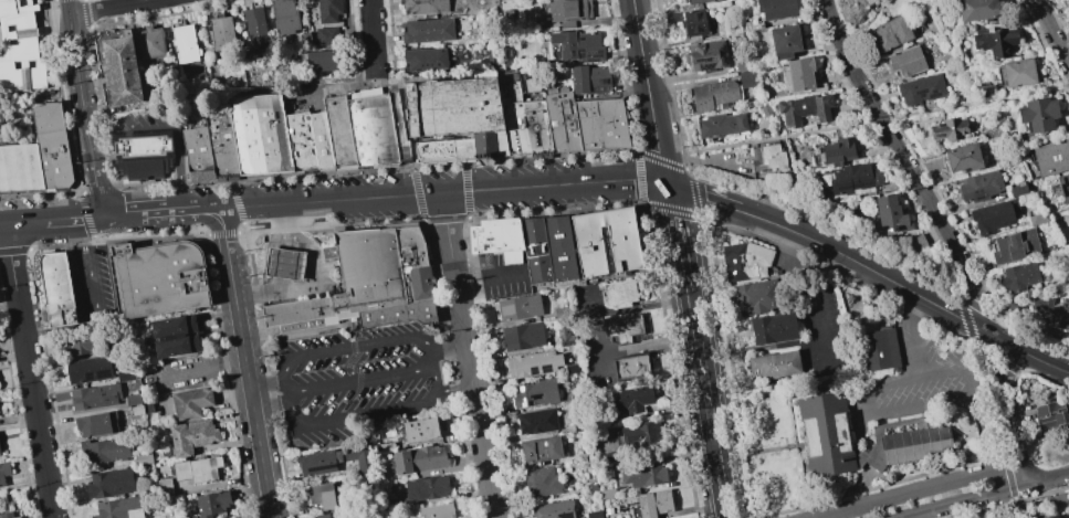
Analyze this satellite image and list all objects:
building: (714, 0)
building: (727, 0)
building: (694, 1)
road: (113, 7)
building: (425, 7)
road: (69, 8)
building: (775, 9)
road: (826, 9)
building: (978, 9)
building: (328, 10)
building: (569, 11)
park: (872, 12)
building: (671, 15)
building: (285, 17)
building: (694, 23)
road: (863, 25)
building: (255, 29)
building: (428, 31)
road: (371, 33)
building: (889, 33)
road: (1051, 33)
building: (221, 34)
building: (327, 36)
building: (785, 40)
building: (995, 41)
building: (150, 43)
building: (185, 44)
building: (578, 45)
building: (20, 47)
rooftop solar panel: (579, 53)
building: (507, 54)
rooftop solar panel: (586, 54)
rooftop solar panel: (723, 54)
building: (706, 56)
rooftop solar panel: (596, 57)
building: (427, 59)
rooftop solar panel: (699, 59)
rooftop solar panel: (708, 59)
building: (323, 61)
building: (905, 61)
rooftop solar panel: (709, 65)
building: (118, 68)
building: (1018, 72)
road: (690, 75)
building: (800, 75)
building: (588, 77)
building: (745, 78)
rooftop solar panel: (604, 81)
road: (691, 85)
road: (342, 87)
rooftop solar panel: (607, 87)
building: (920, 88)
building: (985, 91)
road: (647, 94)
building: (712, 94)
road: (988, 102)
building: (764, 109)
building: (804, 109)
building: (1037, 114)
road: (85, 116)
building: (46, 117)
building: (523, 117)
building: (454, 119)
building: (560, 121)
parking lot: (140, 124)
building: (721, 124)
building: (600, 125)
road: (404, 126)
building: (370, 127)
building: (398, 128)
building: (951, 129)
road: (127, 130)
building: (338, 131)
road: (795, 134)
building: (259, 135)
building: (319, 140)
building: (300, 141)
building: (221, 145)
building: (837, 151)
building: (197, 154)
road: (674, 154)
building: (142, 155)
building: (1051, 157)
building: (767, 158)
building: (963, 158)
building: (53, 159)
road: (178, 167)
building: (19, 168)
flagpole: (290, 172)
road: (912, 175)
building: (851, 178)
road: (627, 179)
rooftop solar panel: (864, 180)
rooftop solar panel: (853, 181)
rooftop solar panel: (843, 183)
traffic signals: (669, 187)
building: (979, 187)
building: (1063, 187)
building: (1018, 189)
road: (450, 192)
road: (708, 200)
road: (268, 205)
road: (200, 211)
road: (176, 212)
road: (157, 213)
building: (890, 214)
road: (124, 215)
building: (994, 215)
traffic signals: (103, 216)
building: (1037, 218)
road: (74, 219)
road: (25, 221)
road: (2, 222)
road: (287, 222)
building: (254, 226)
road: (701, 226)
road: (677, 229)
building: (496, 239)
road: (279, 242)
building: (606, 242)
road: (286, 244)
building: (916, 245)
building: (1014, 245)
building: (1066, 245)
building: (1054, 247)
building: (547, 250)
building: (327, 252)
road: (311, 254)
building: (744, 260)
road: (269, 262)
building: (283, 263)
road: (283, 264)
road: (870, 269)
building: (1019, 275)
road: (485, 276)
building: (156, 278)
road: (685, 282)
building: (366, 284)
road: (265, 285)
road: (281, 285)
parking lot: (93, 286)
road: (455, 288)
building: (56, 289)
road: (274, 292)
building: (620, 294)
building: (751, 296)
road: (95, 306)
building: (520, 307)
road: (630, 308)
building: (562, 313)
building: (1066, 318)
building: (771, 328)
road: (819, 328)
building: (623, 329)
building: (175, 337)
building: (524, 337)
building: (565, 337)
road: (1029, 337)
building: (81, 345)
road: (364, 347)
road: (447, 348)
road: (647, 348)
road: (759, 348)
building: (877, 349)
road: (598, 352)
road: (1028, 355)
road: (244, 363)
building: (534, 364)
building: (774, 364)
building: (631, 368)
road: (199, 369)
road: (356, 369)
building: (573, 369)
road: (953, 369)
road: (28, 370)
building: (90, 370)
road: (433, 370)
rooftop solar panel: (531, 370)
rooftop solar panel: (544, 370)
parking lot: (179, 373)
rooftop solar panel: (85, 376)
rooftop solar panel: (101, 376)
building: (125, 376)
parking lot: (359, 379)
road: (359, 382)
road: (702, 387)
road: (454, 388)
building: (534, 393)
building: (95, 397)
road: (268, 397)
building: (635, 399)
building: (134, 400)
road: (480, 401)
building: (191, 403)
building: (149, 408)
road: (1008, 409)
building: (137, 411)
road: (877, 414)
building: (1051, 416)
building: (537, 421)
road: (335, 422)
building: (97, 424)
building: (580, 425)
building: (420, 430)
building: (641, 433)
building: (913, 435)
building: (191, 437)
building: (384, 448)
building: (106, 450)
building: (542, 450)
building: (165, 453)
building: (144, 458)
building: (419, 459)
building: (321, 464)
road: (485, 468)
building: (198, 469)
building: (3, 473)
building: (644, 473)
building: (543, 482)
building: (111, 483)
building: (593, 487)
building: (165, 488)
building: (427, 488)
road: (919, 490)
building: (607, 493)
road: (983, 495)
building: (322, 496)
building: (2, 499)
road: (721, 500)
building: (212, 504)
building: (388, 504)
building: (654, 504)
building: (120, 508)
building: (555, 509)
building: (437, 511)
building: (608, 511)
building: (595, 514)
building: (7, 515)
building: (331, 515)
rooftop solar panel: (565, 515)
building: (1067, 515)
building: (1052, 516)
building: (18, 517)

